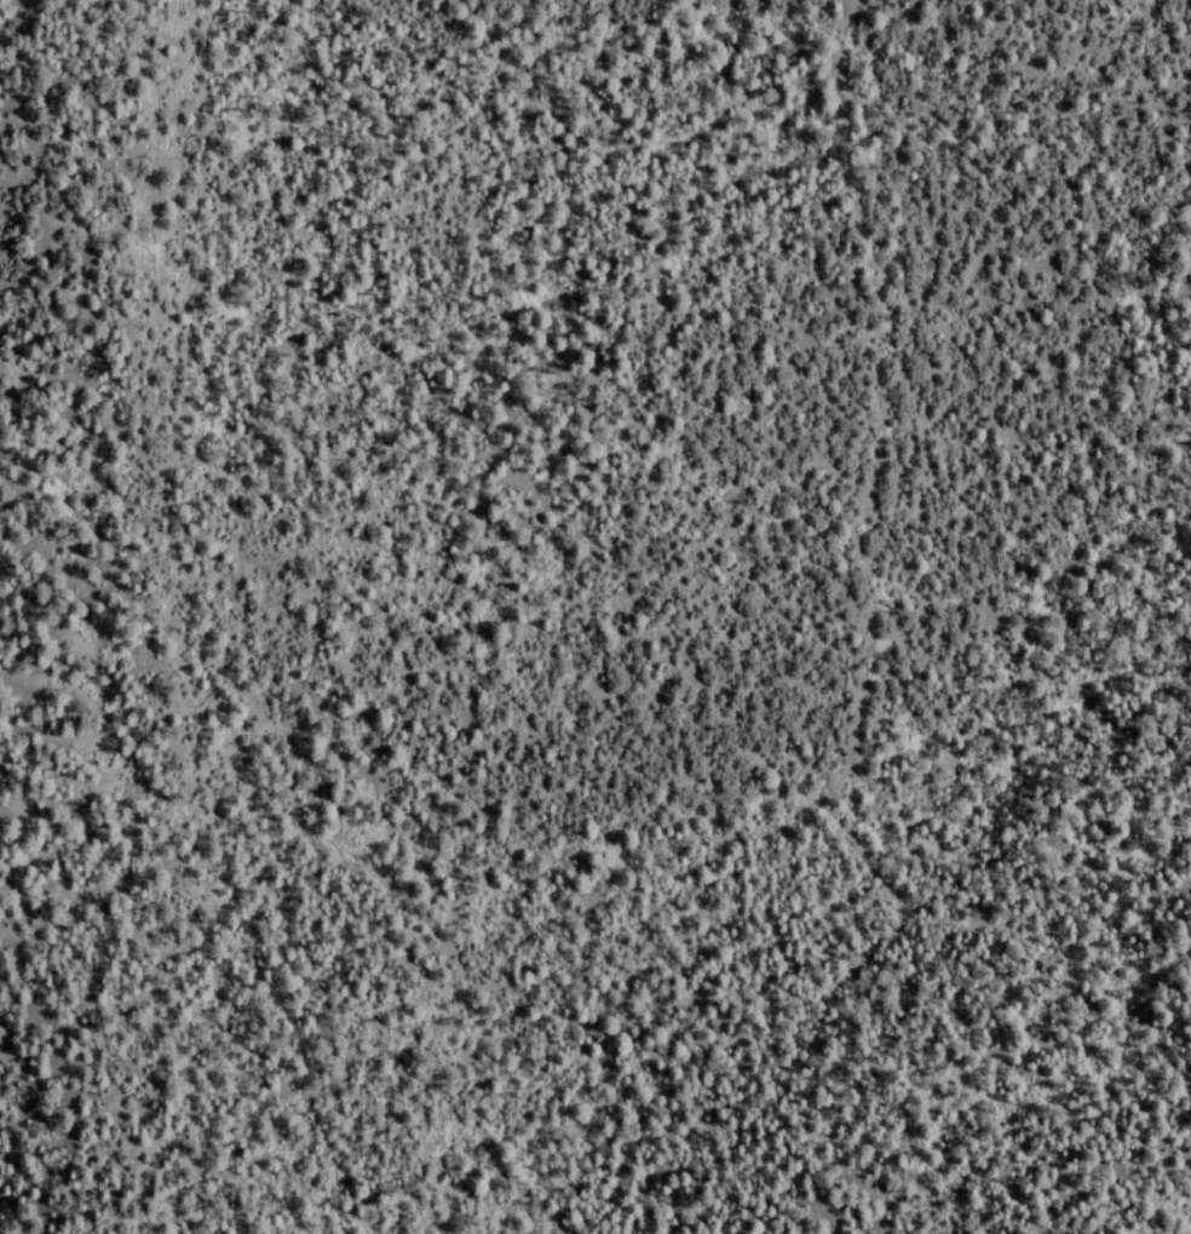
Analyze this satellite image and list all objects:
road: (836, 609)
road: (1185, 1222)

